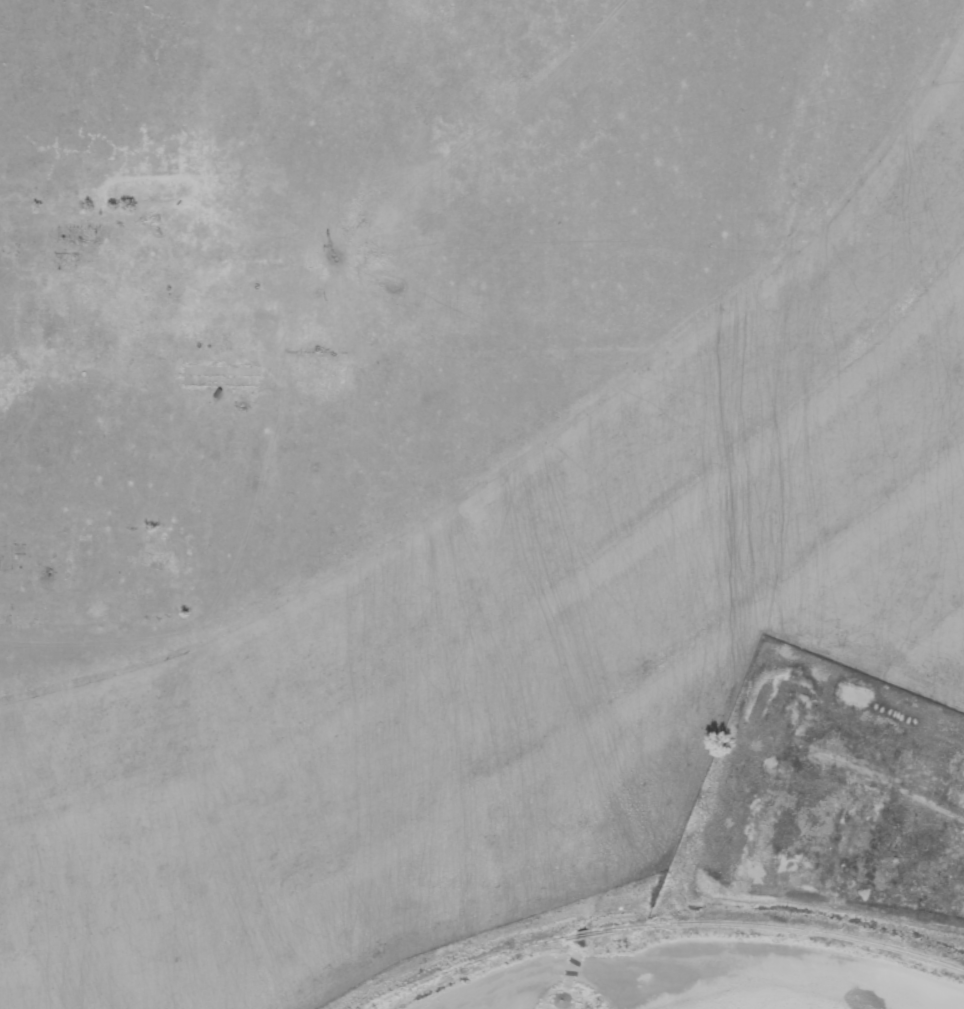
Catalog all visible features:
railway: (663, 925)

